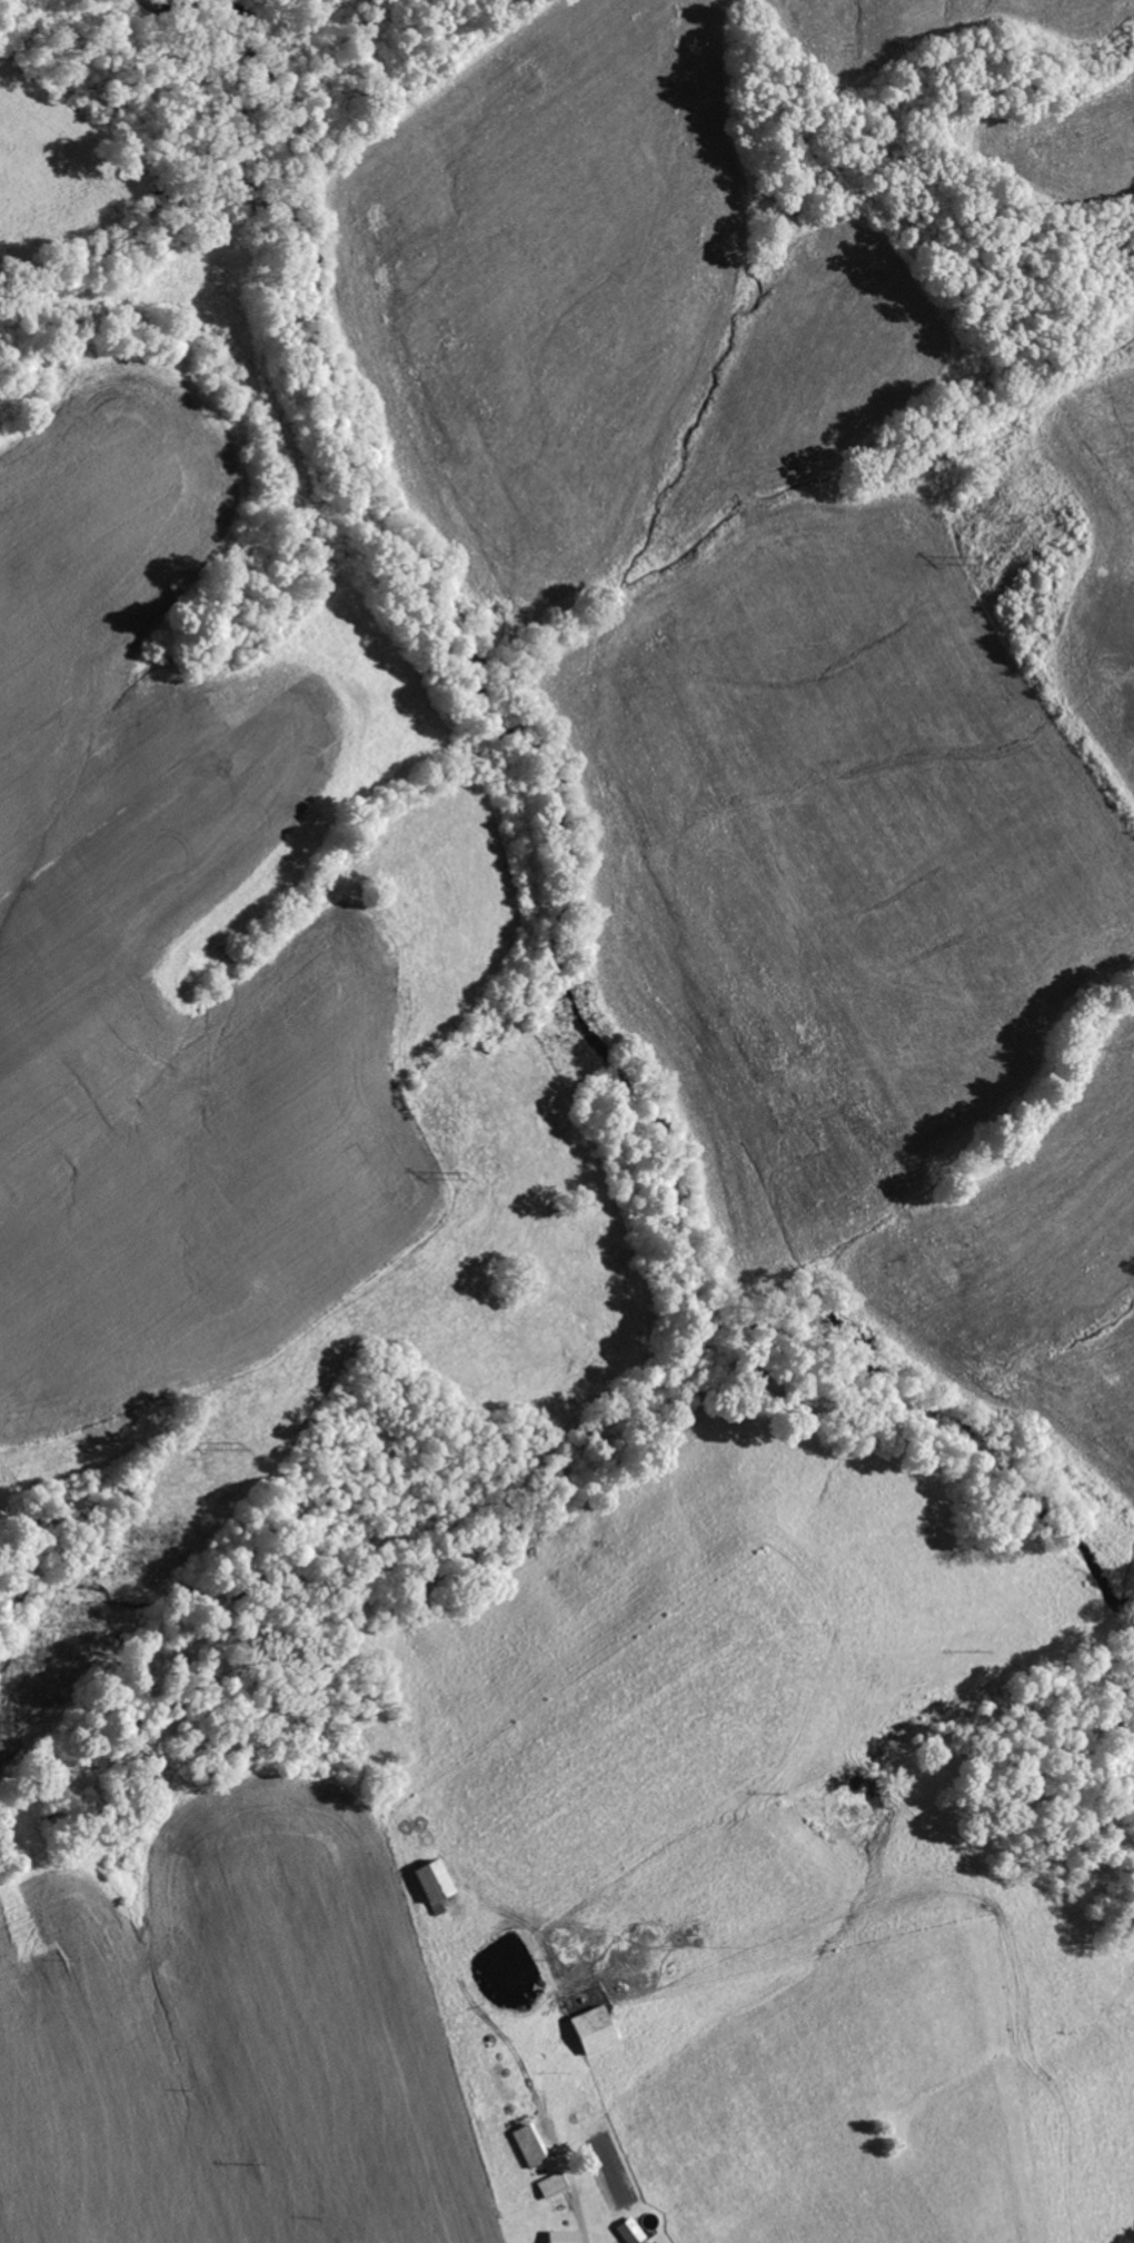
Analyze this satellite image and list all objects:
building: (427, 1885)
building: (587, 2031)
road: (648, 2076)
building: (526, 2146)
building: (549, 2186)
building: (626, 2231)
building: (560, 2237)
building: (641, 2242)

